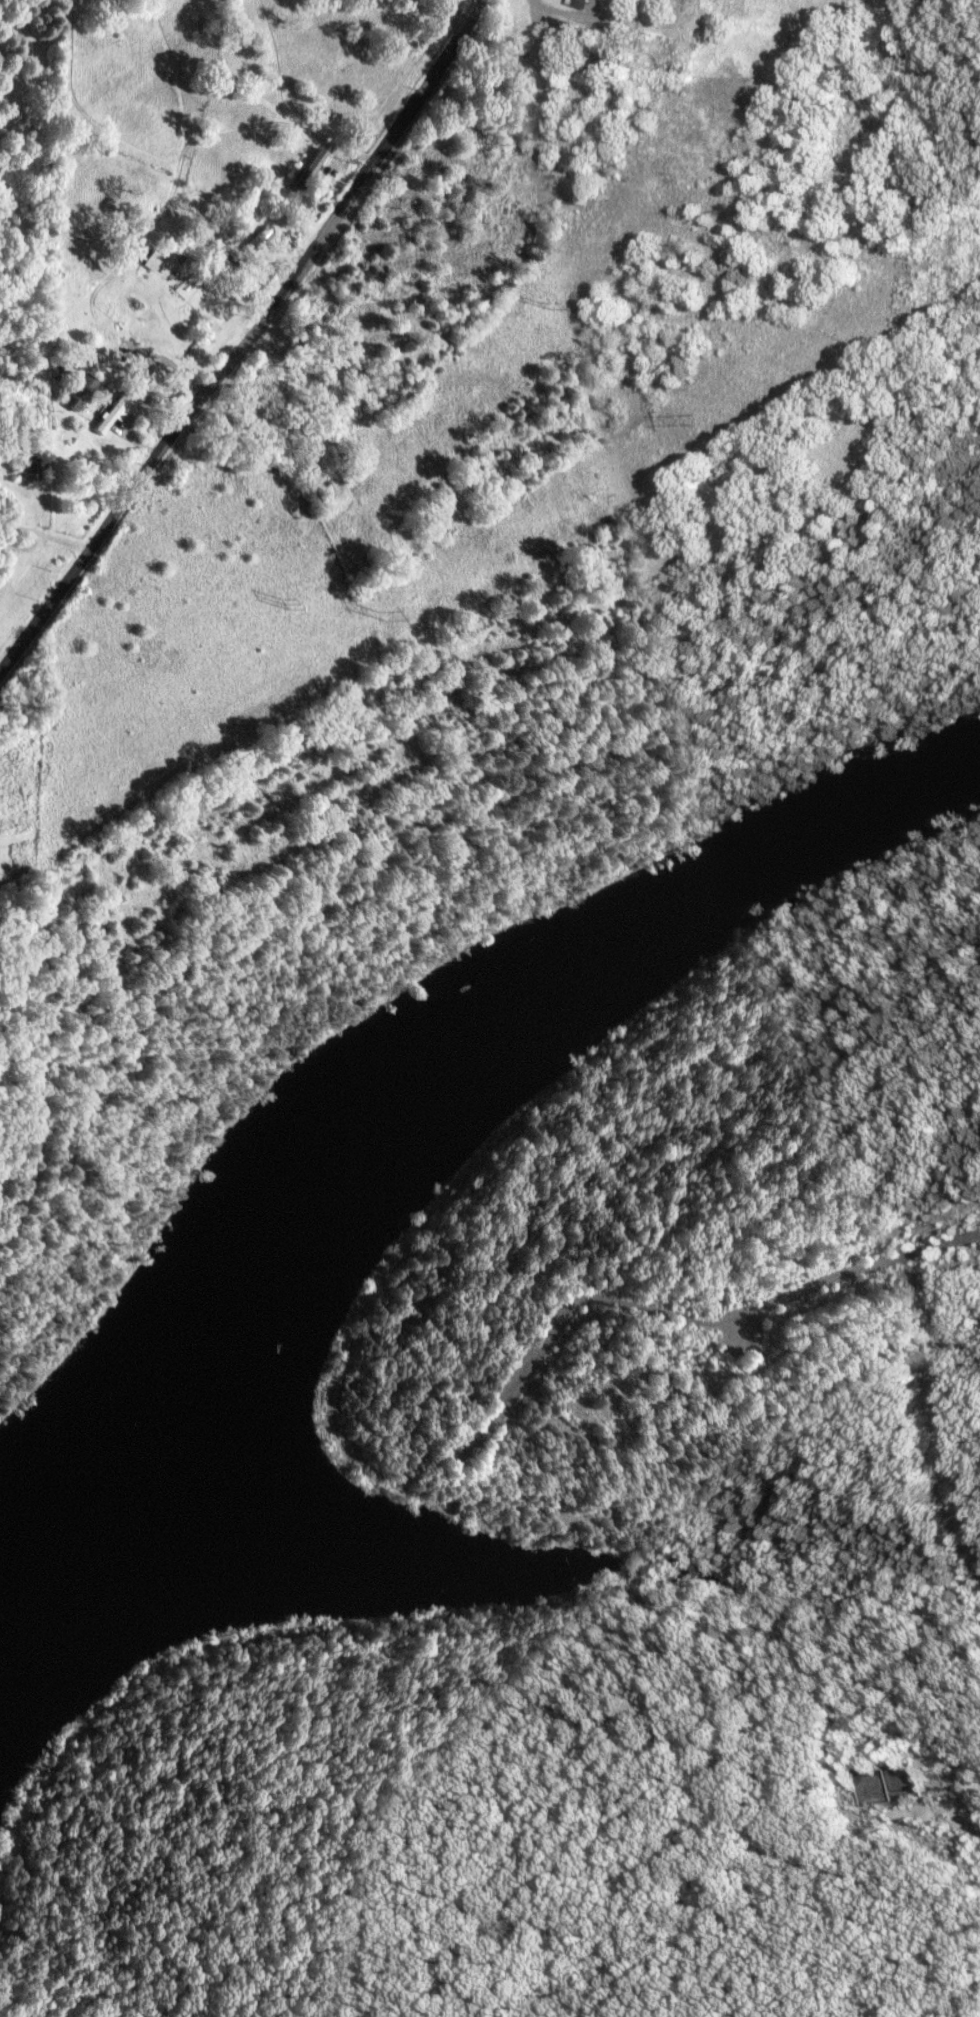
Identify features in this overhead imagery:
building: (575, 3)
road: (564, 16)
building: (546, 32)
building: (662, 54)
building: (310, 162)
building: (309, 194)
building: (255, 240)
building: (148, 259)
building: (219, 262)
power tower: (538, 303)
road: (248, 343)
building: (76, 390)
building: (107, 413)
power tower: (691, 414)
road: (46, 536)
power tower: (283, 600)
power tower: (379, 615)

